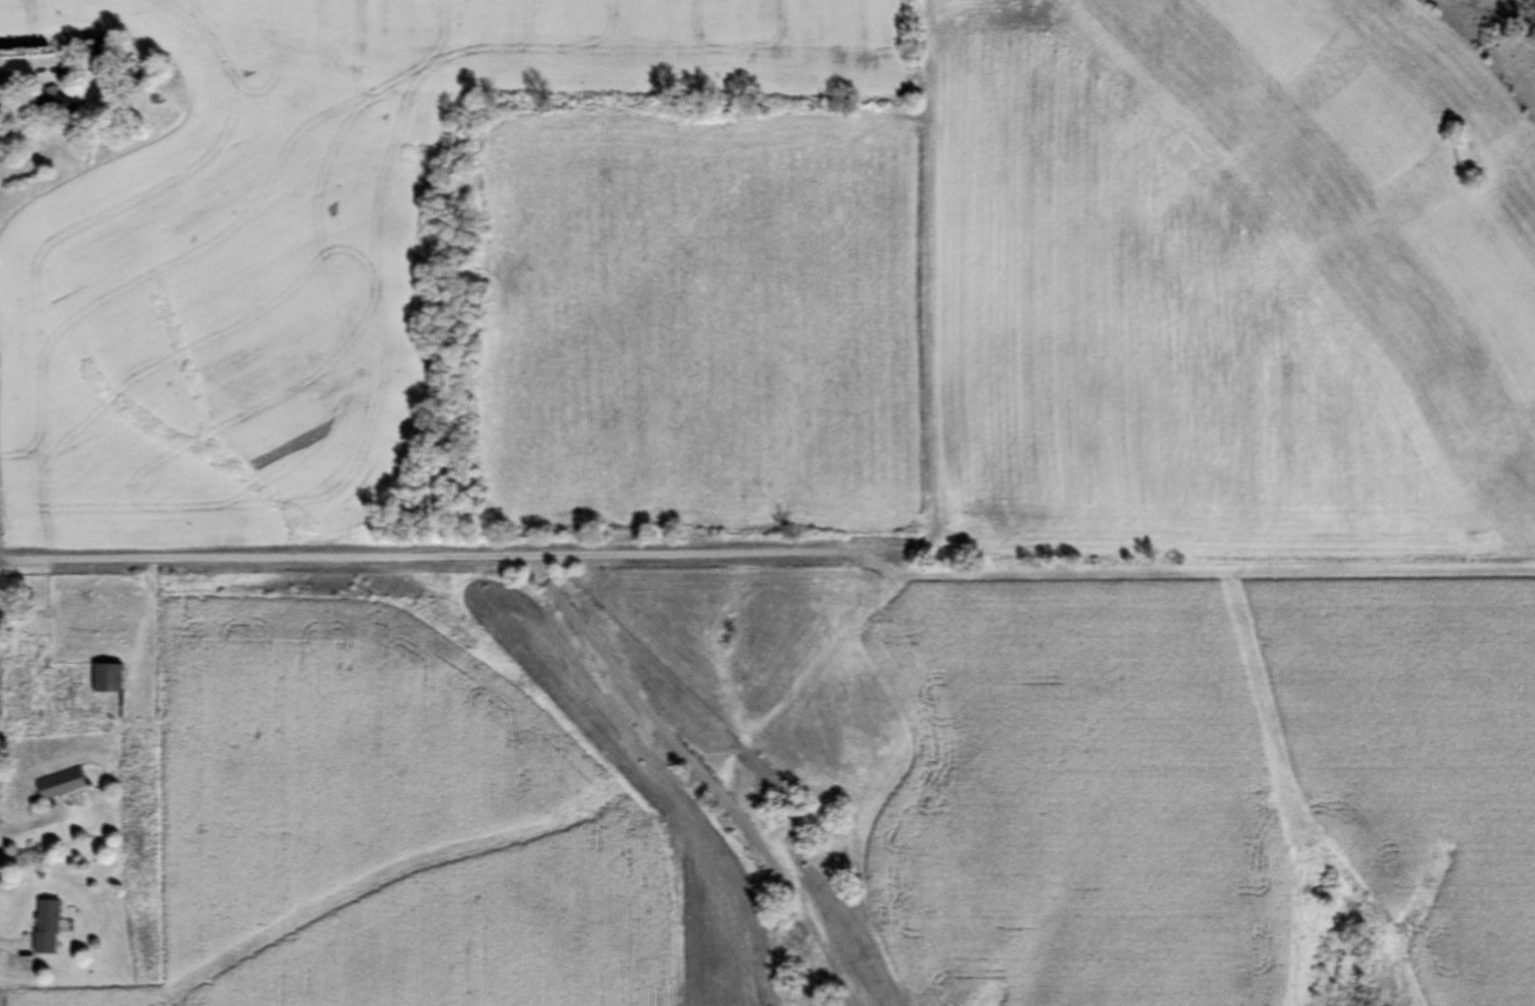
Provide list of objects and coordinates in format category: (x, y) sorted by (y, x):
building: (101, 56)
building: (59, 104)
road: (450, 563)
building: (108, 679)
road: (703, 775)
building: (61, 784)
building: (46, 928)

